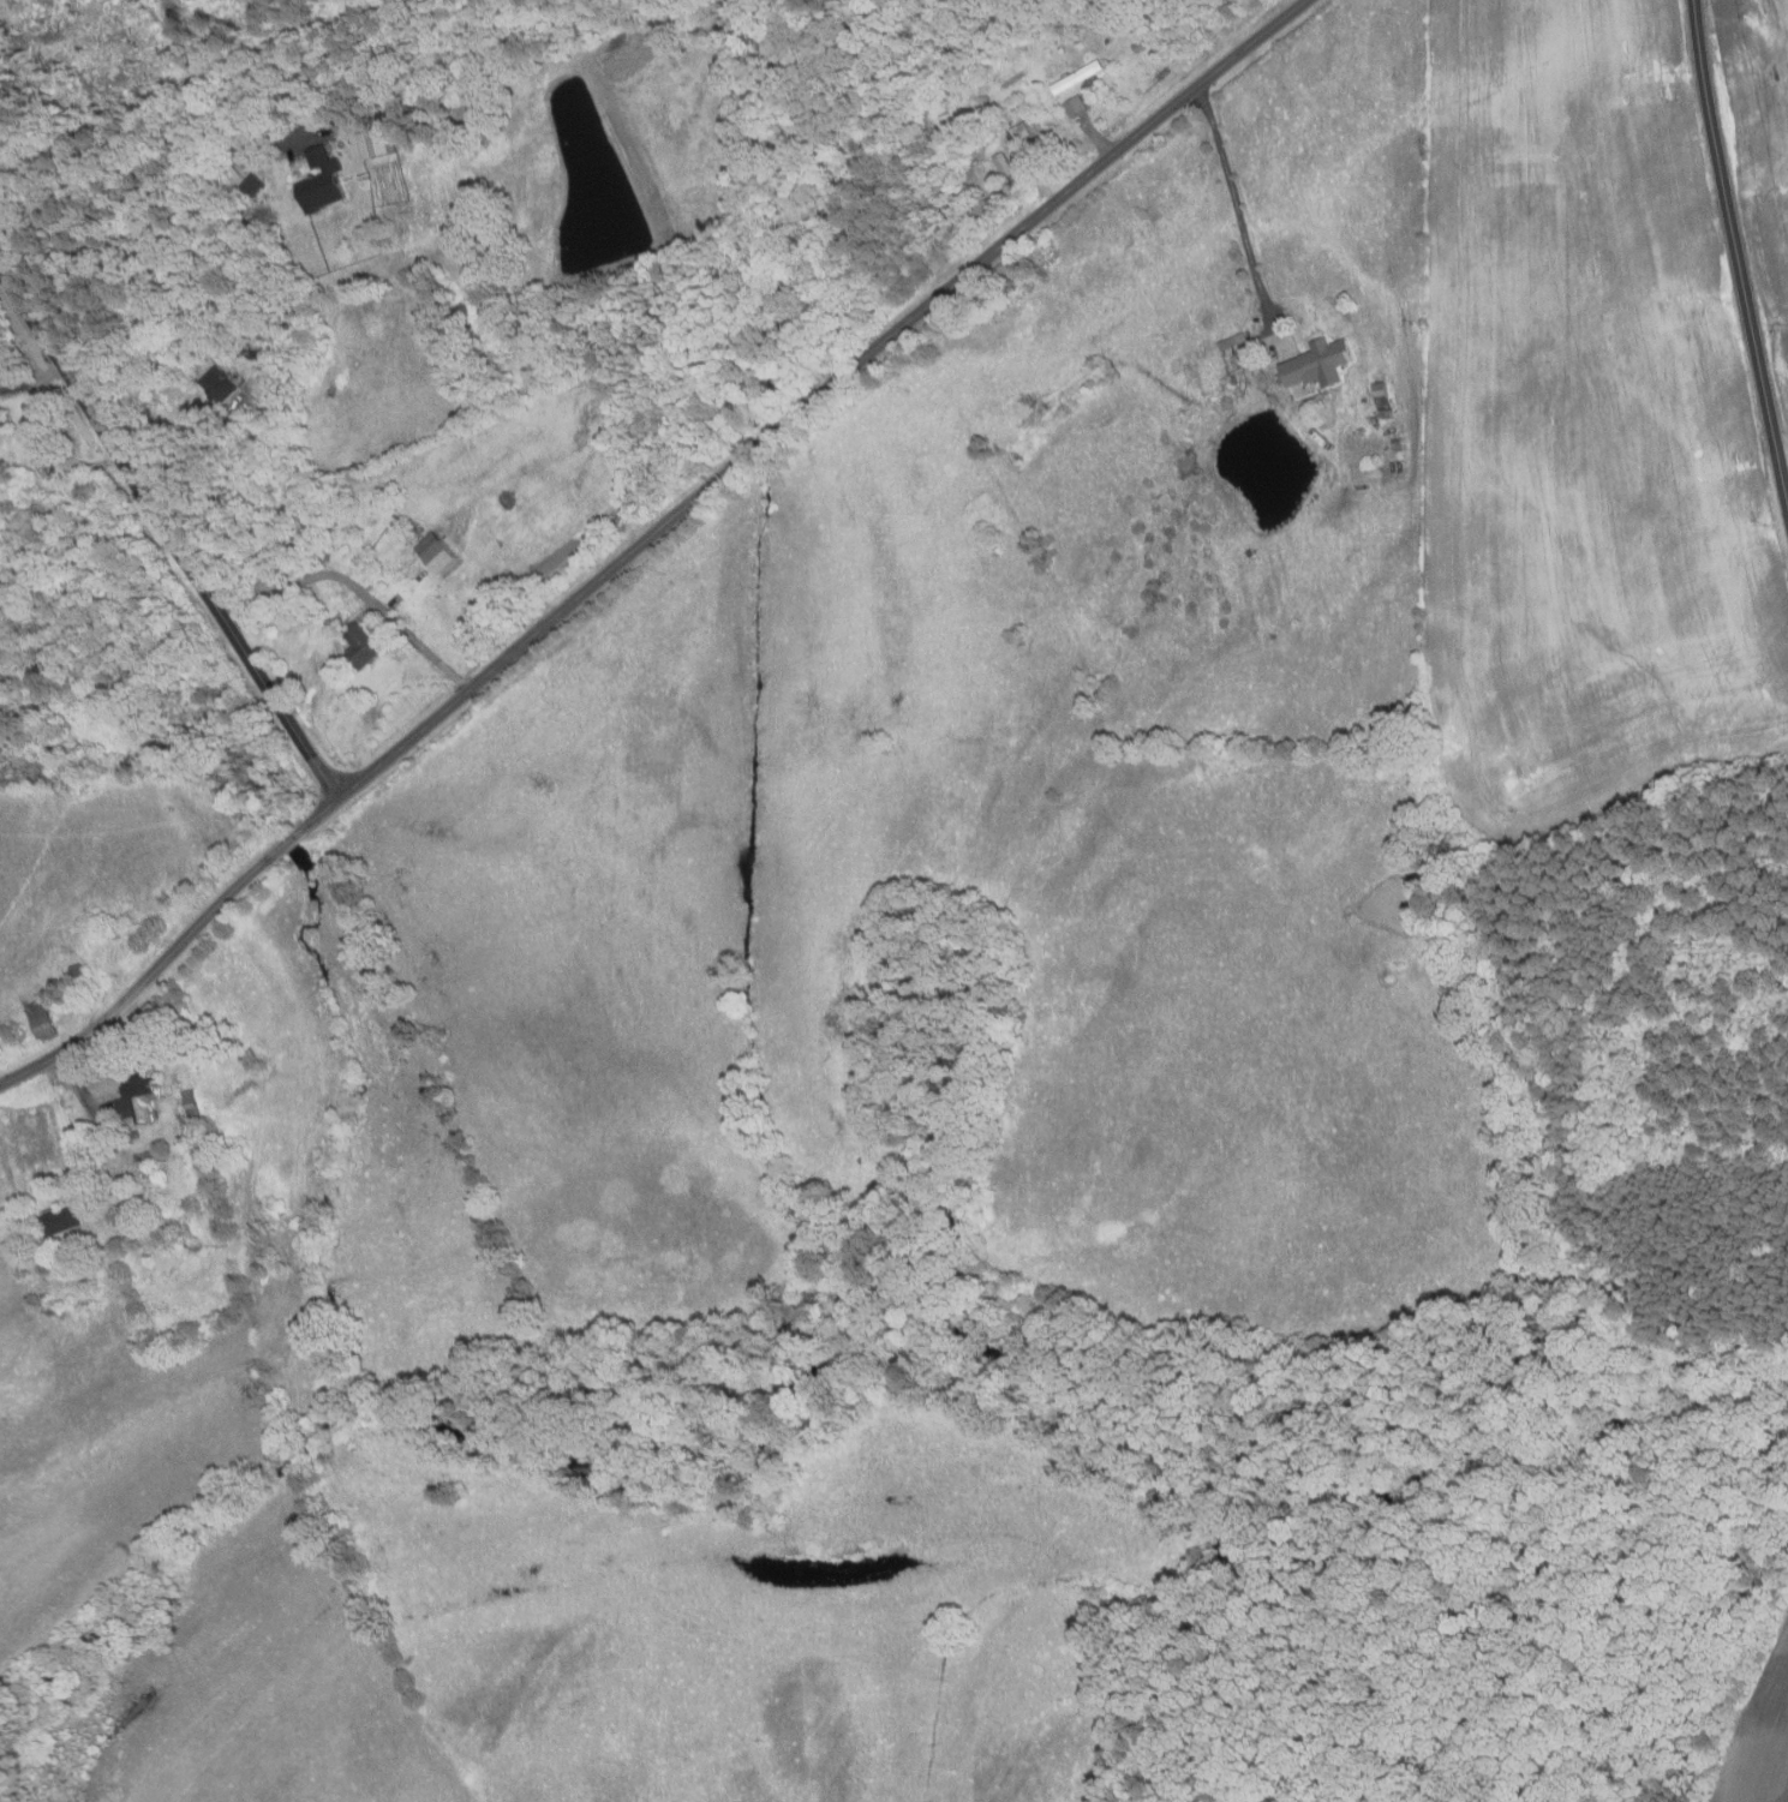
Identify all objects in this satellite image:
building: (1141, 26)
building: (1108, 41)
building: (1143, 44)
building: (1081, 76)
building: (1077, 106)
building: (965, 127)
building: (1022, 131)
road: (1096, 137)
building: (379, 142)
crop: (1760, 143)
building: (1045, 148)
building: (1006, 163)
road: (146, 166)
building: (324, 181)
building: (256, 184)
road: (1236, 206)
road: (1738, 251)
building: (185, 283)
building: (210, 323)
building: (1243, 339)
building: (1320, 366)
road: (32, 381)
building: (222, 384)
building: (1382, 393)
road: (799, 413)
building: (1387, 413)
building: (0, 425)
crop: (1585, 441)
road: (207, 465)
road: (169, 529)
building: (413, 533)
building: (438, 552)
road: (359, 588)
building: (365, 646)
road: (289, 840)
building: (80, 975)
road: (148, 975)
building: (42, 1019)
road: (76, 1083)
building: (144, 1100)
building: (192, 1103)
building: (134, 1135)
building: (193, 1138)
building: (157, 1157)
building: (64, 1222)
building: (190, 1243)
crop: (1758, 1736)

